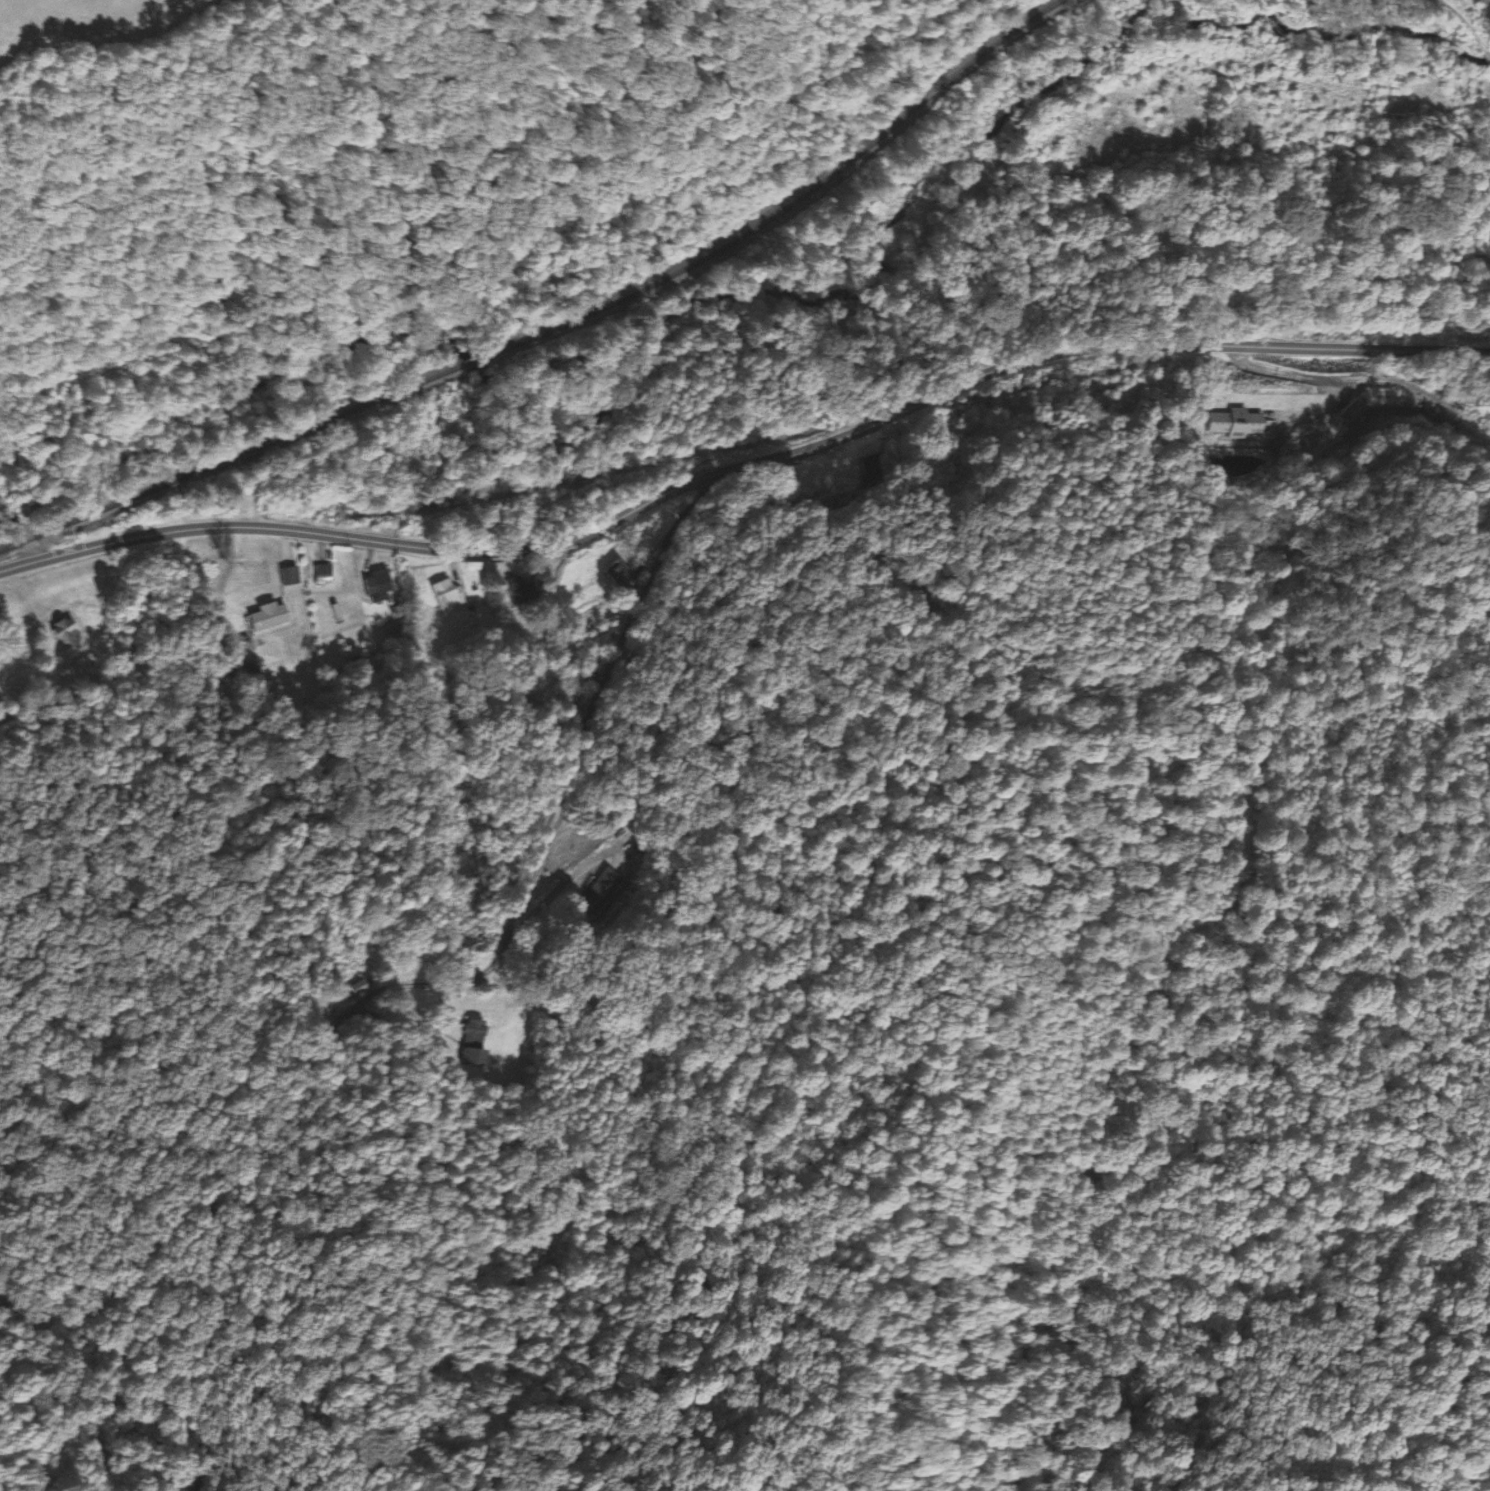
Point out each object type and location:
railway: (560, 328)
road: (1341, 374)
building: (1237, 422)
road: (744, 467)
road: (23, 523)
road: (769, 528)
building: (619, 574)
building: (324, 575)
building: (290, 576)
building: (379, 586)
building: (523, 591)
building: (448, 595)
building: (268, 617)
building: (283, 680)
road: (562, 766)
building: (603, 888)
building: (357, 989)
building: (473, 1043)
road: (208, 1162)
road: (85, 1333)

